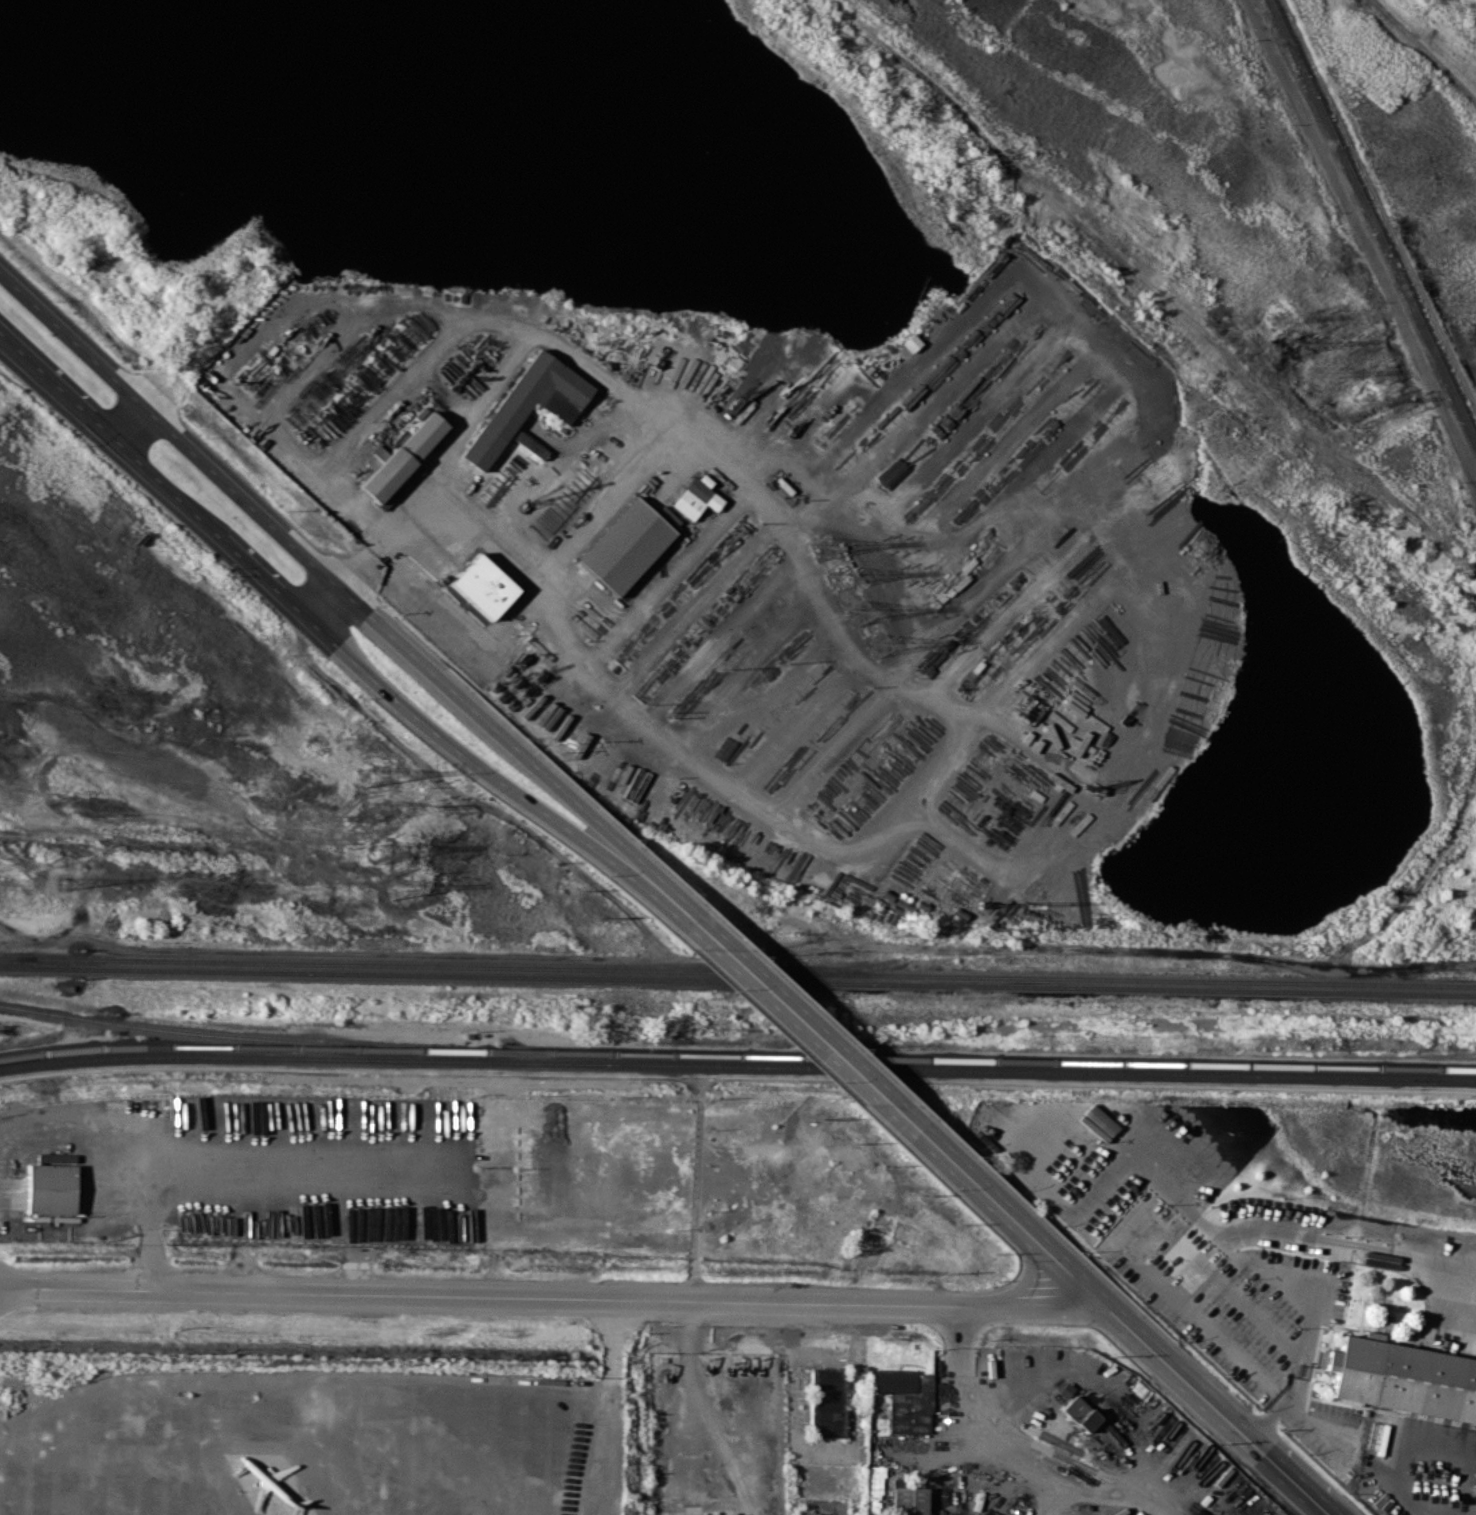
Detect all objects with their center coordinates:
power tower: (1276, 320)
building: (911, 342)
power tower: (1302, 344)
power tower: (1335, 374)
road: (57, 385)
power tower: (1364, 401)
building: (507, 413)
road: (128, 423)
road: (165, 430)
building: (529, 444)
building: (400, 457)
road: (165, 484)
building: (695, 496)
road: (464, 513)
road: (1053, 523)
building: (627, 544)
power tower: (824, 548)
road: (260, 570)
building: (482, 586)
road: (317, 597)
power tower: (862, 612)
power tower: (879, 645)
road: (900, 686)
building: (1066, 712)
road: (487, 731)
road: (468, 751)
power tower: (370, 775)
power tower: (378, 810)
power tower: (387, 852)
power tower: (65, 883)
power tower: (395, 890)
railway: (16, 958)
railway: (737, 971)
railway: (738, 980)
road: (752, 980)
railway: (231, 1036)
railway: (317, 1047)
railway: (1055, 1061)
railway: (737, 1067)
road: (944, 1157)
building: (51, 1189)
road: (1173, 1241)
road: (1064, 1269)
road: (1022, 1276)
road: (1312, 1292)
road: (1447, 1293)
road: (551, 1296)
road: (1176, 1373)
building: (1406, 1376)
building: (1064, 1390)
building: (903, 1399)
building: (827, 1401)
road: (713, 1408)
building: (1079, 1413)
road: (1274, 1463)
building: (875, 1487)
building: (908, 1500)
road: (1314, 1500)
building: (726, 1514)

